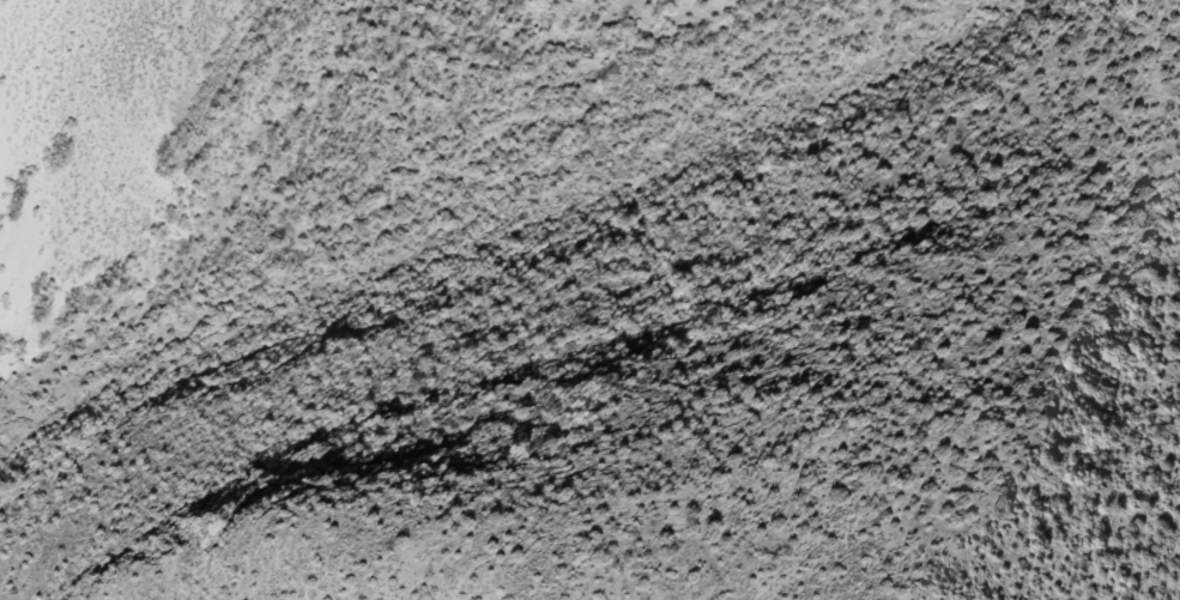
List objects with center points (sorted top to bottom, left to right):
river: (98, 152)

